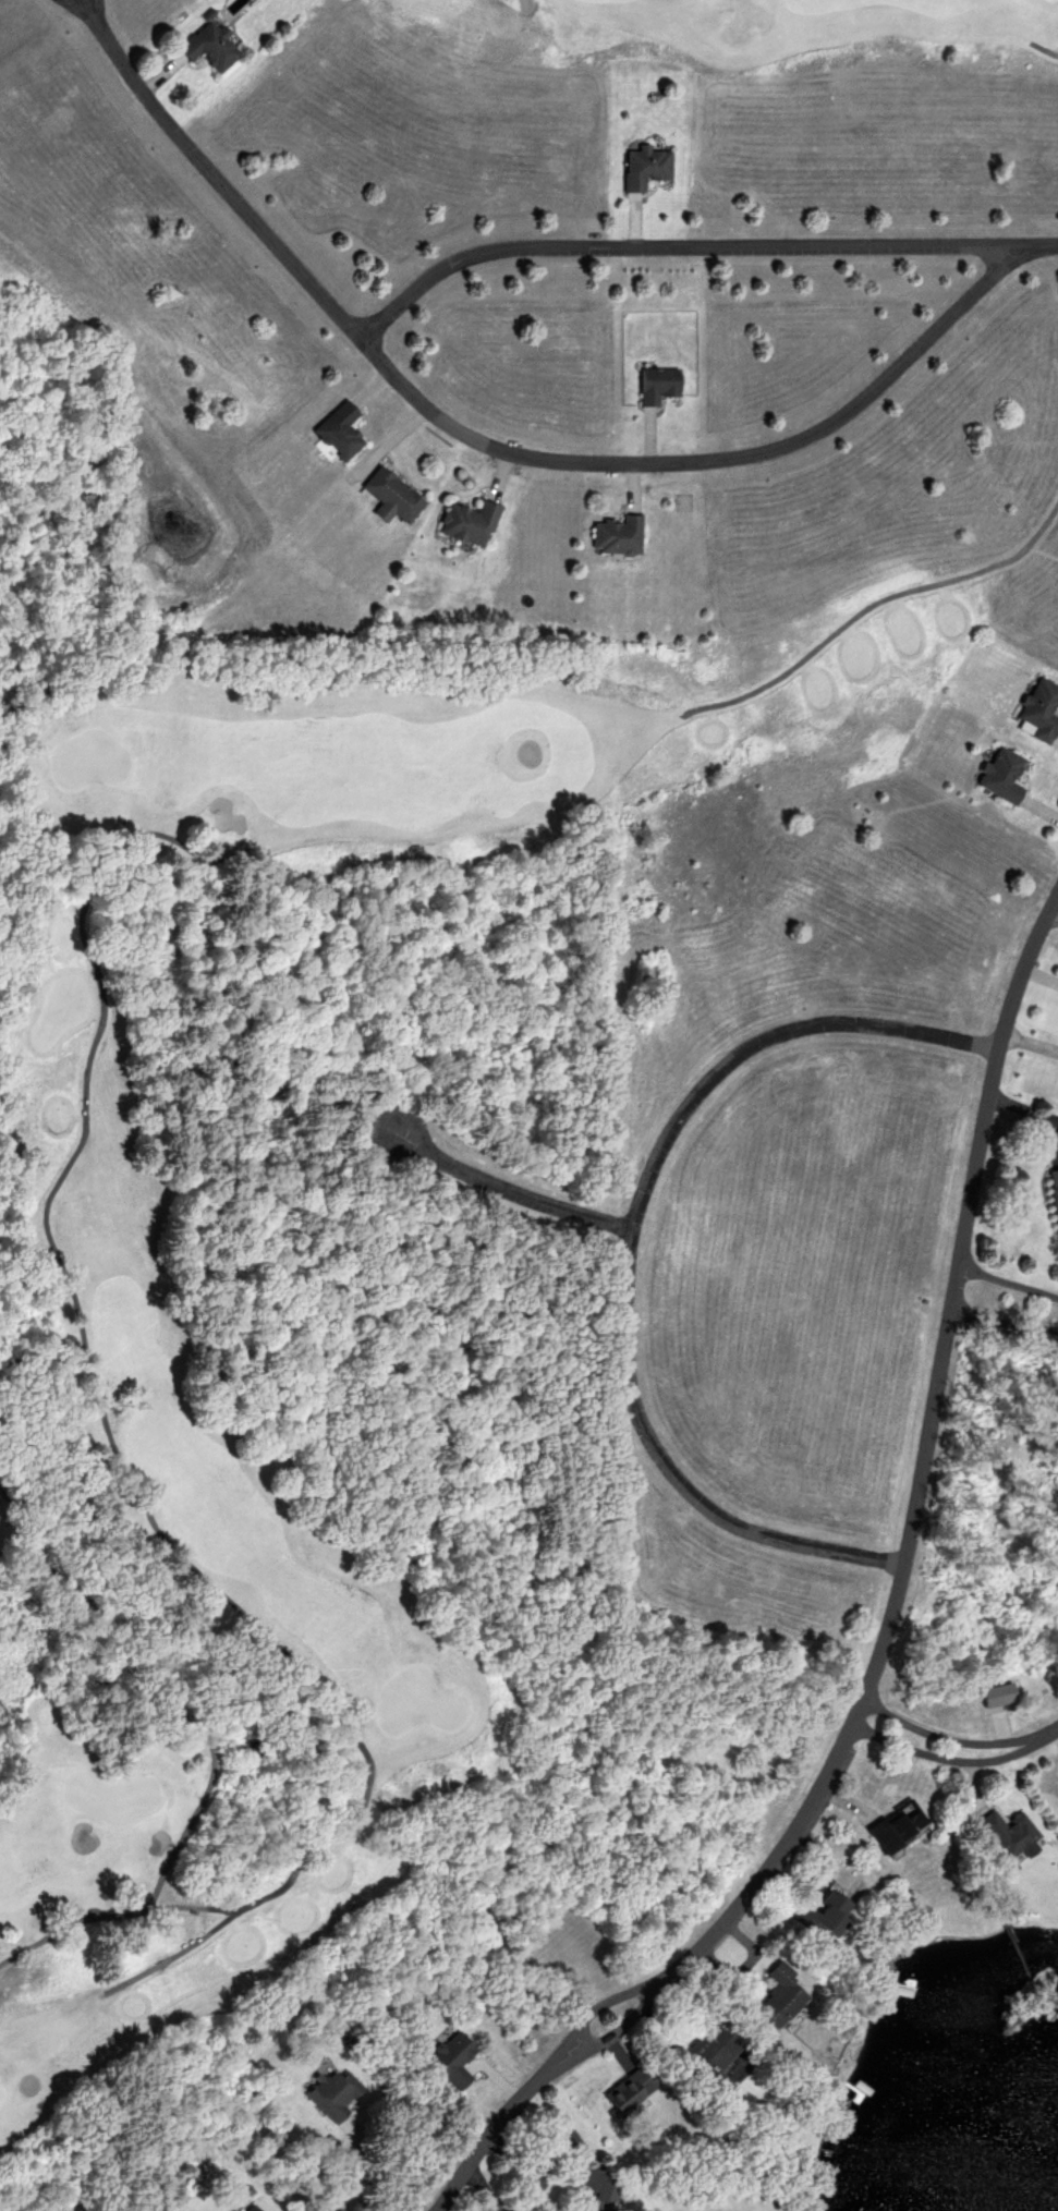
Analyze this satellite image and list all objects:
building: (206, 47)
road: (1043, 49)
park: (739, 51)
building: (642, 168)
road: (695, 246)
building: (655, 386)
building: (337, 433)
road: (492, 449)
building: (390, 498)
building: (466, 524)
building: (616, 537)
road: (868, 607)
building: (1036, 712)
building: (998, 777)
park: (100, 1096)
road: (508, 1192)
building: (1051, 1199)
road: (625, 1248)
road: (1007, 1281)
road: (1004, 1323)
road: (111, 1448)
road: (883, 1633)
road: (145, 1689)
road: (1050, 1729)
road: (947, 1740)
road: (948, 1757)
building: (891, 1826)
building: (1001, 1832)
road: (110, 1907)
building: (814, 1918)
building: (773, 1996)
building: (703, 2051)
building: (446, 2060)
building: (622, 2091)
building: (326, 2092)
road: (377, 2176)
building: (587, 2191)
building: (242, 2208)

